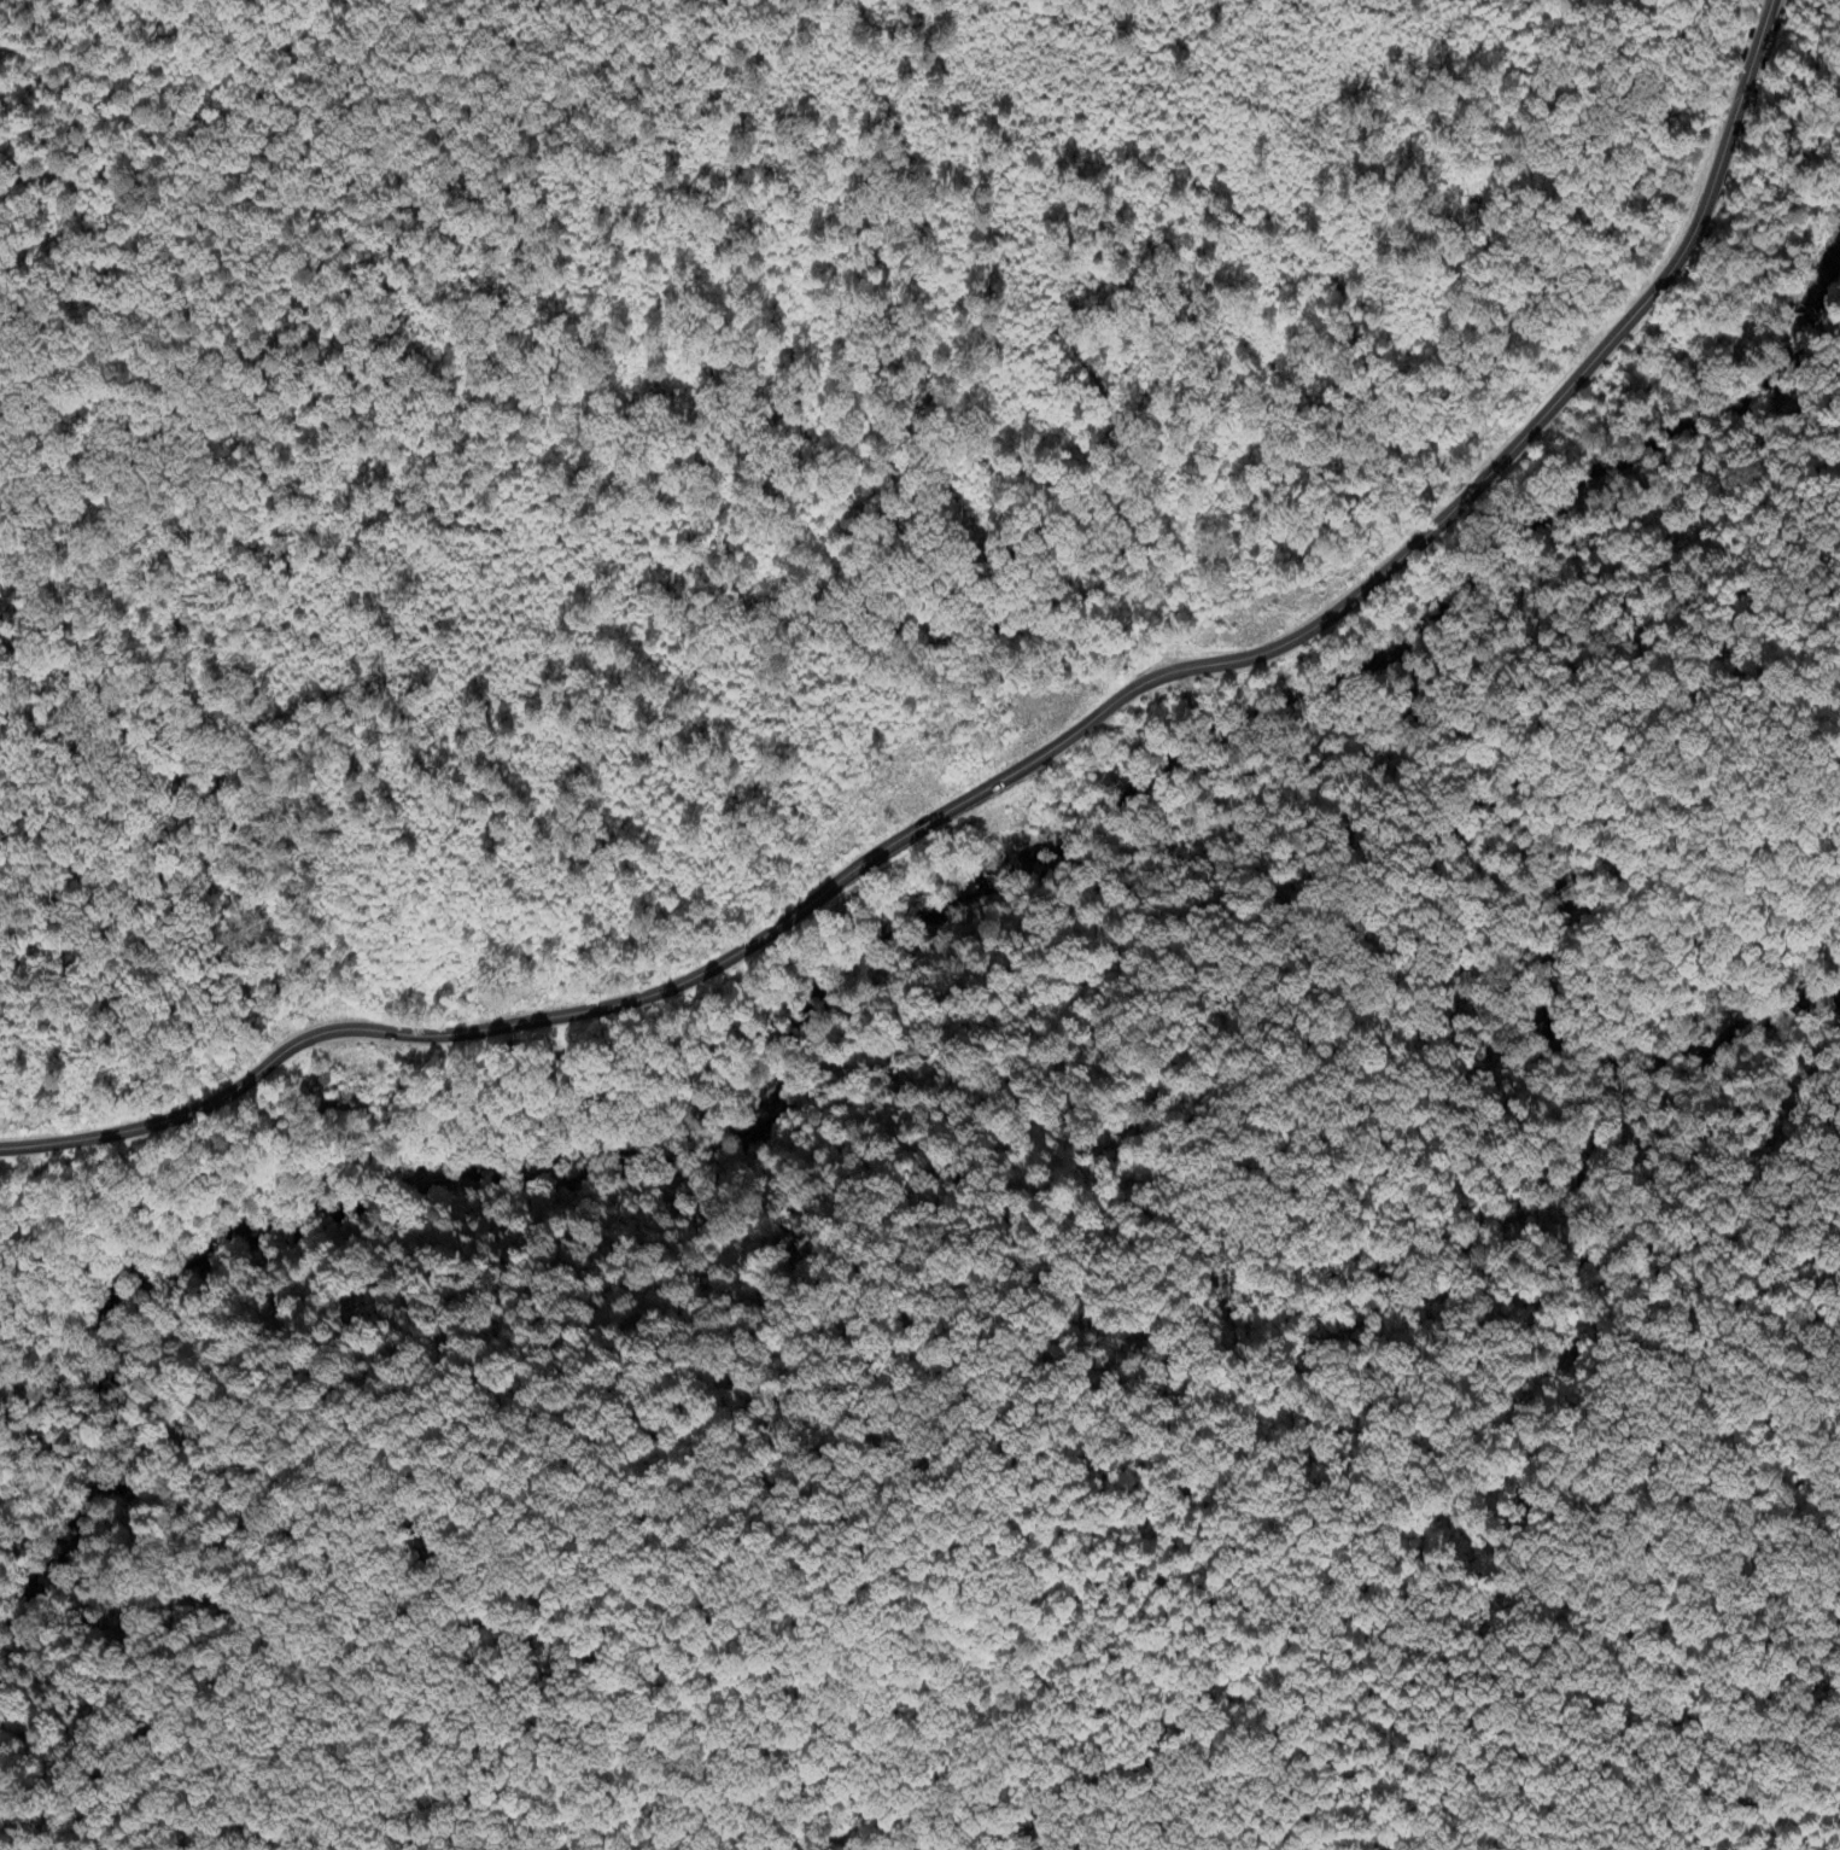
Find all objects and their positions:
road: (1026, 771)
road: (964, 929)

